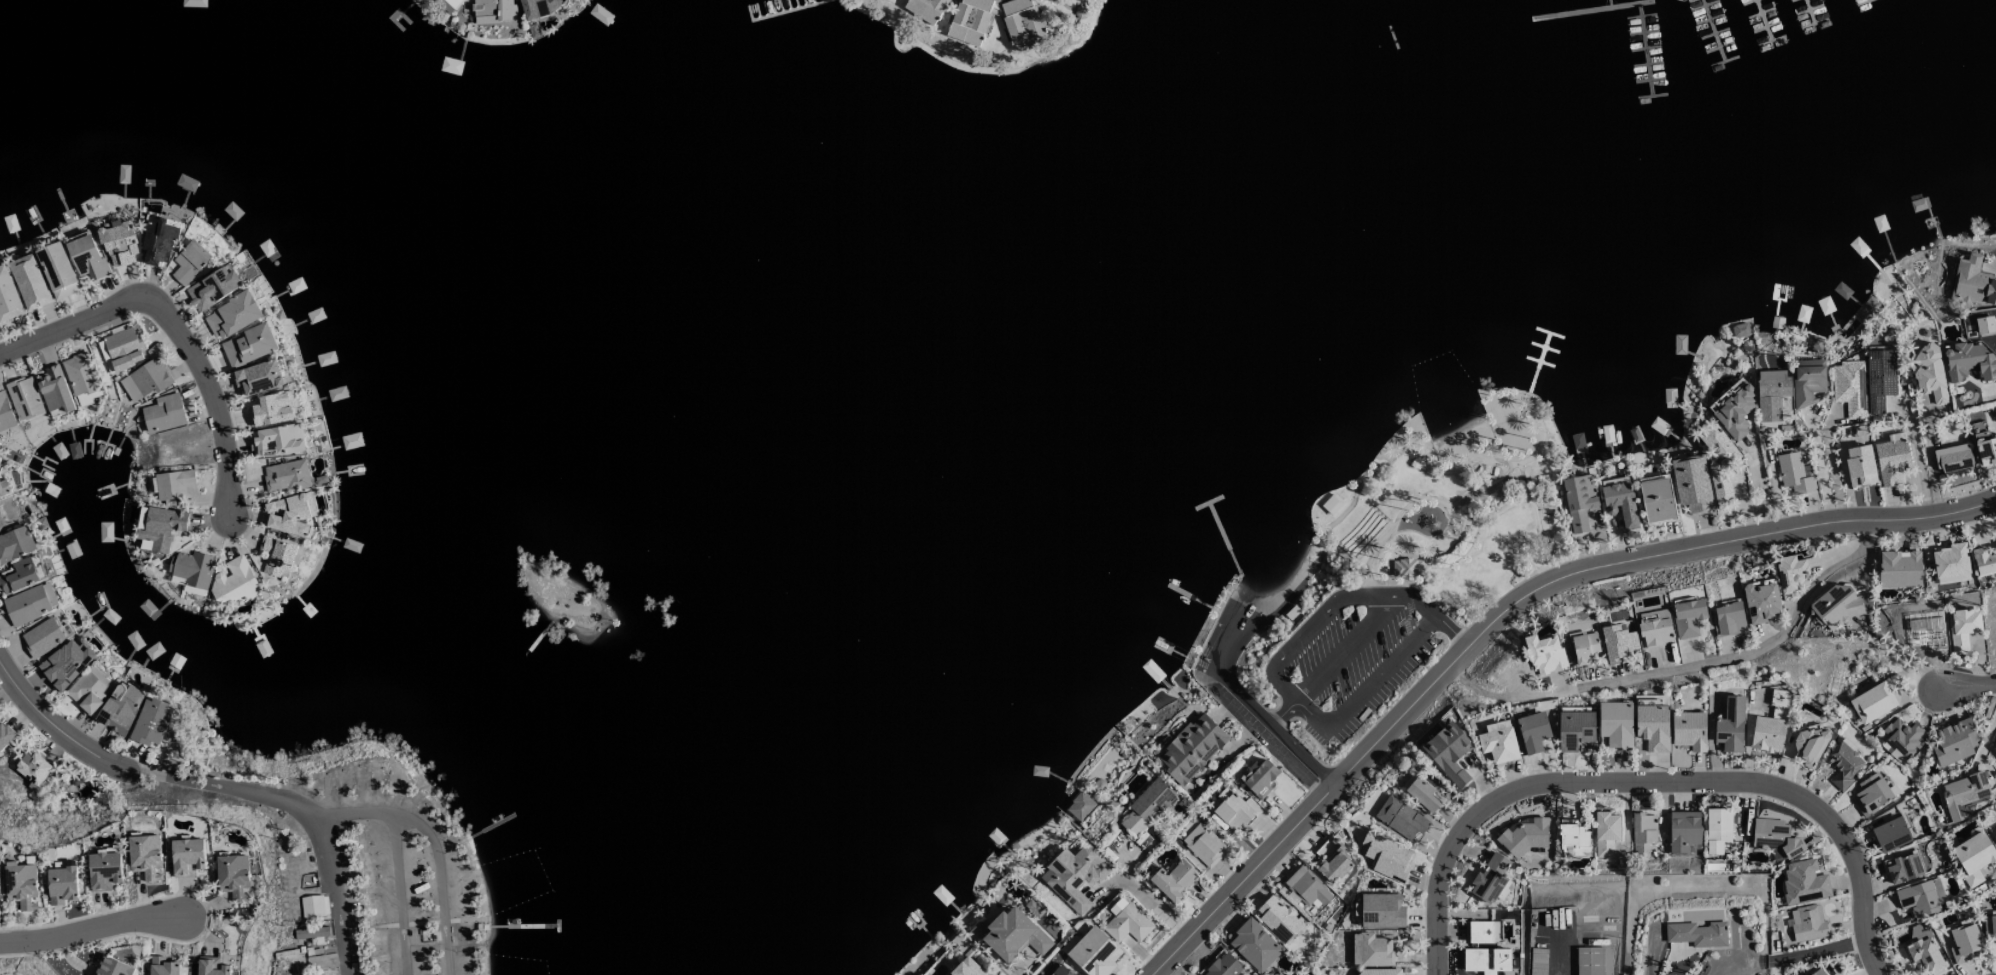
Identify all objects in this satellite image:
pier: (1746, 1)
pier: (1861, 2)
pier: (1609, 3)
building: (447, 4)
pier: (1704, 5)
building: (540, 7)
pier: (1813, 7)
building: (926, 9)
pier: (1590, 9)
building: (492, 10)
pier: (1814, 10)
pier: (1760, 12)
pier: (1639, 16)
pier: (1709, 18)
building: (970, 20)
pier: (1763, 20)
pier: (1819, 21)
building: (1021, 22)
pier: (1765, 26)
pier: (1713, 30)
pier: (1642, 32)
pier: (1715, 32)
pier: (1771, 40)
pier: (1719, 46)
pier: (1644, 48)
pier: (1644, 49)
pier: (1725, 60)
pier: (1646, 64)
pier: (1648, 79)
pier: (1650, 95)
building: (157, 241)
building: (120, 244)
building: (86, 255)
building: (189, 262)
building: (57, 270)
building: (1973, 281)
building: (29, 282)
building: (214, 287)
building: (7, 297)
building: (233, 315)
road: (177, 323)
building: (1984, 325)
pier: (1548, 333)
building: (249, 346)
pier: (1543, 347)
building: (124, 348)
pier: (1538, 362)
pier: (1538, 362)
building: (1968, 362)
building: (1930, 372)
building: (80, 374)
building: (261, 377)
building: (1879, 379)
building: (145, 380)
building: (1809, 381)
building: (1849, 387)
building: (55, 391)
building: (1771, 394)
building: (24, 398)
building: (88, 398)
building: (1733, 408)
building: (271, 409)
building: (5, 413)
building: (163, 413)
park: (1509, 424)
building: (278, 440)
building: (1985, 446)
building: (1891, 459)
building: (1953, 459)
road: (1819, 463)
road: (1919, 463)
building: (1859, 466)
building: (1793, 474)
building: (286, 475)
building: (173, 484)
building: (1692, 484)
building: (4, 488)
building: (1656, 499)
building: (1619, 500)
building: (1579, 501)
pier: (1207, 502)
building: (291, 514)
building: (159, 526)
park: (1555, 532)
pier: (1222, 535)
building: (16, 544)
building: (1995, 544)
building: (276, 555)
building: (1950, 560)
building: (1984, 561)
building: (191, 569)
building: (1406, 569)
building: (1899, 569)
building: (1790, 572)
park: (1385, 574)
building: (18, 576)
building: (235, 581)
pier: (1192, 598)
building: (1761, 601)
building: (31, 604)
building: (1835, 606)
road: (1513, 612)
building: (1688, 616)
building: (1728, 619)
building: (1655, 628)
building: (1963, 628)
building: (46, 636)
building: (1617, 643)
building: (1584, 647)
pier: (535, 648)
building: (1544, 654)
parking lot: (1353, 655)
road: (1690, 662)
building: (67, 663)
road: (1278, 663)
road: (1224, 686)
road: (1967, 686)
building: (90, 689)
building: (1872, 702)
building: (120, 707)
road: (1284, 712)
building: (151, 722)
building: (1615, 723)
building: (1730, 725)
building: (1652, 727)
building: (1574, 729)
building: (1689, 730)
building: (1533, 731)
building: (5, 734)
building: (1767, 734)
building: (1903, 736)
building: (1498, 741)
building: (1954, 742)
building: (1808, 744)
building: (1191, 749)
building: (1448, 753)
building: (1843, 765)
road: (145, 766)
building: (33, 769)
building: (1259, 778)
road: (1656, 780)
building: (1963, 793)
building: (1423, 794)
building: (1871, 794)
building: (1080, 806)
building: (1147, 807)
building: (1235, 811)
building: (1401, 818)
pier: (484, 828)
building: (1683, 830)
building: (1717, 830)
building: (1605, 833)
building: (1891, 833)
building: (1523, 834)
building: (1643, 834)
building: (1776, 838)
building: (1574, 839)
building: (1203, 845)
road: (437, 849)
building: (1325, 850)
building: (145, 856)
building: (187, 856)
building: (1386, 857)
building: (1974, 857)
building: (1334, 865)
building: (1904, 867)
building: (104, 870)
building: (233, 876)
building: (1074, 876)
building: (1174, 879)
building: (1490, 880)
building: (1804, 882)
building: (21, 885)
building: (61, 885)
building: (1306, 887)
road: (333, 895)
road: (403, 895)
building: (1921, 898)
road: (1149, 900)
building: (312, 906)
building: (1382, 911)
building: (1280, 918)
building: (1126, 922)
road: (420, 923)
building: (1808, 923)
pier: (556, 925)
pier: (522, 926)
building: (1993, 926)
building: (1986, 927)
road: (90, 932)
building: (311, 932)
building: (1479, 932)
building: (1697, 934)
building: (1014, 935)
building: (1964, 943)
building: (1254, 945)
building: (1371, 950)
road: (1818, 951)
building: (1094, 953)
building: (1925, 956)
building: (1486, 960)
building: (1588, 961)
building: (1222, 965)
building: (162, 966)
building: (211, 966)
building: (113, 968)
building: (968, 968)
park: (327, 971)
building: (1061, 971)
building: (1377, 972)

